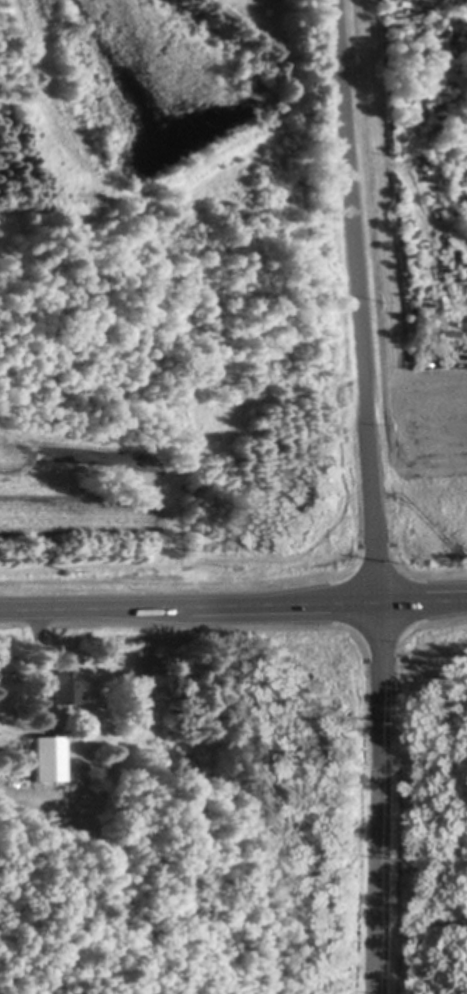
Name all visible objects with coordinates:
road: (378, 496)
power tower: (422, 566)
power tower: (243, 568)
power tower: (71, 571)
road: (233, 602)
building: (66, 685)
power tower: (412, 723)
building: (47, 757)
power tower: (405, 857)

